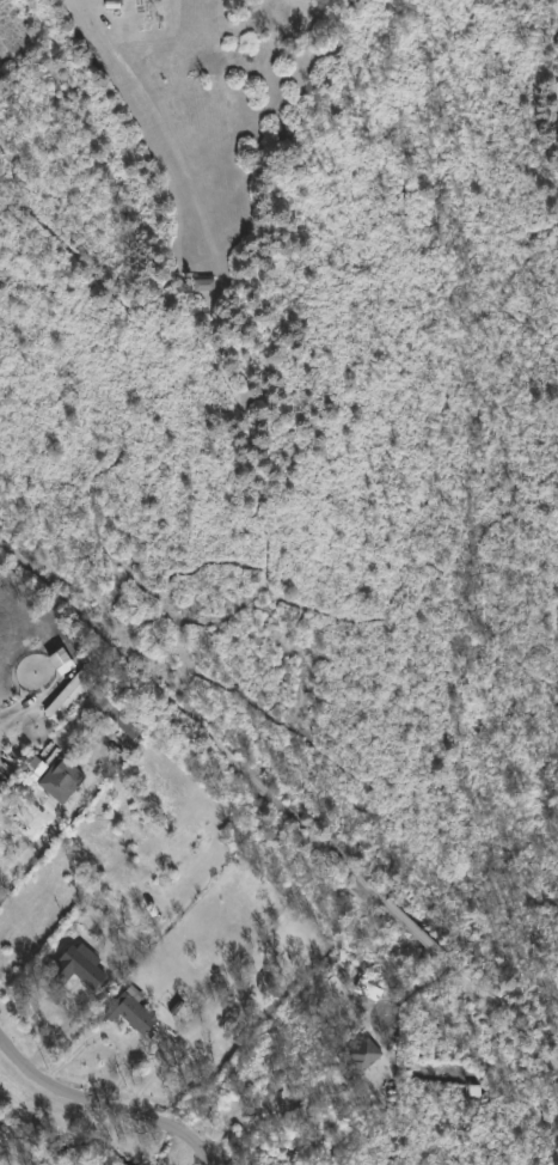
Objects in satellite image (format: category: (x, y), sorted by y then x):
building: (203, 292)
building: (119, 721)
building: (80, 727)
building: (62, 780)
railway: (278, 803)
building: (79, 965)
building: (134, 1010)
building: (367, 1053)
road: (104, 1105)
road: (268, 1109)

